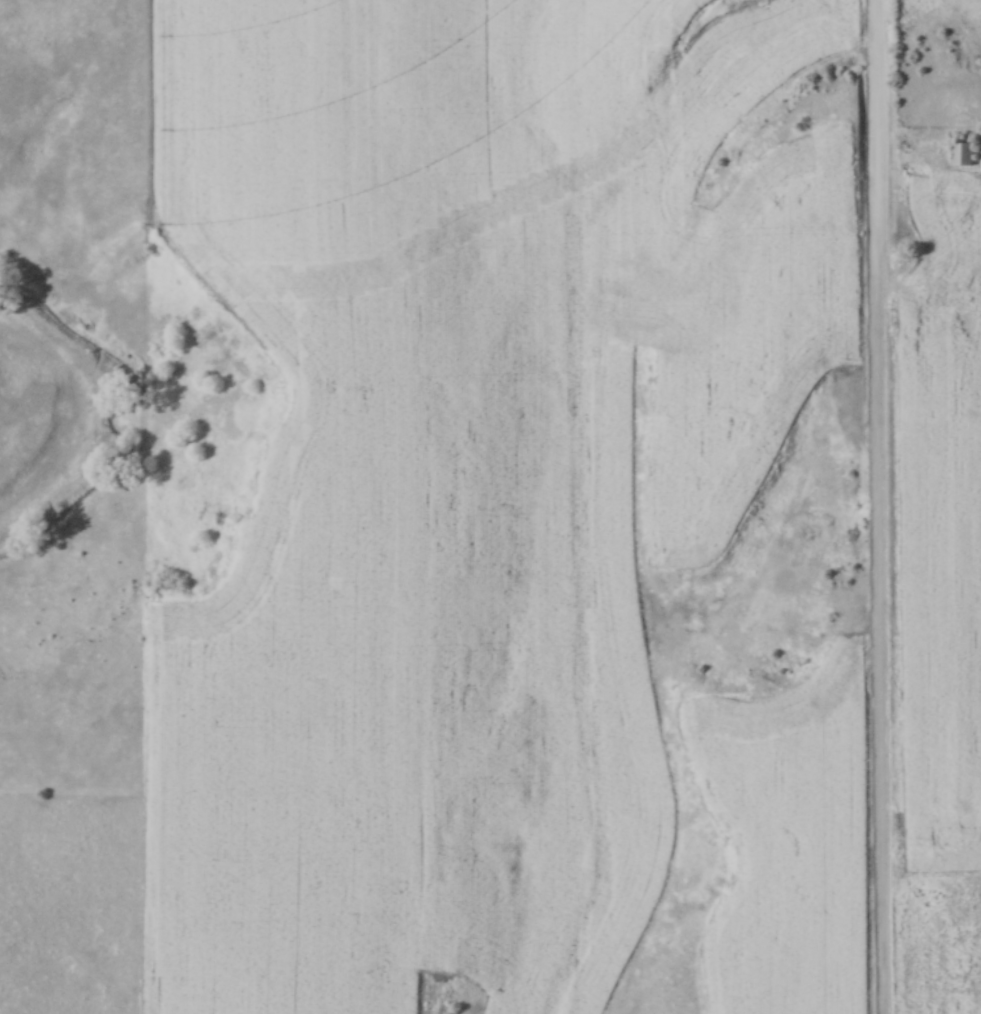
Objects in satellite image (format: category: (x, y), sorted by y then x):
building: (963, 155)
road: (883, 506)

